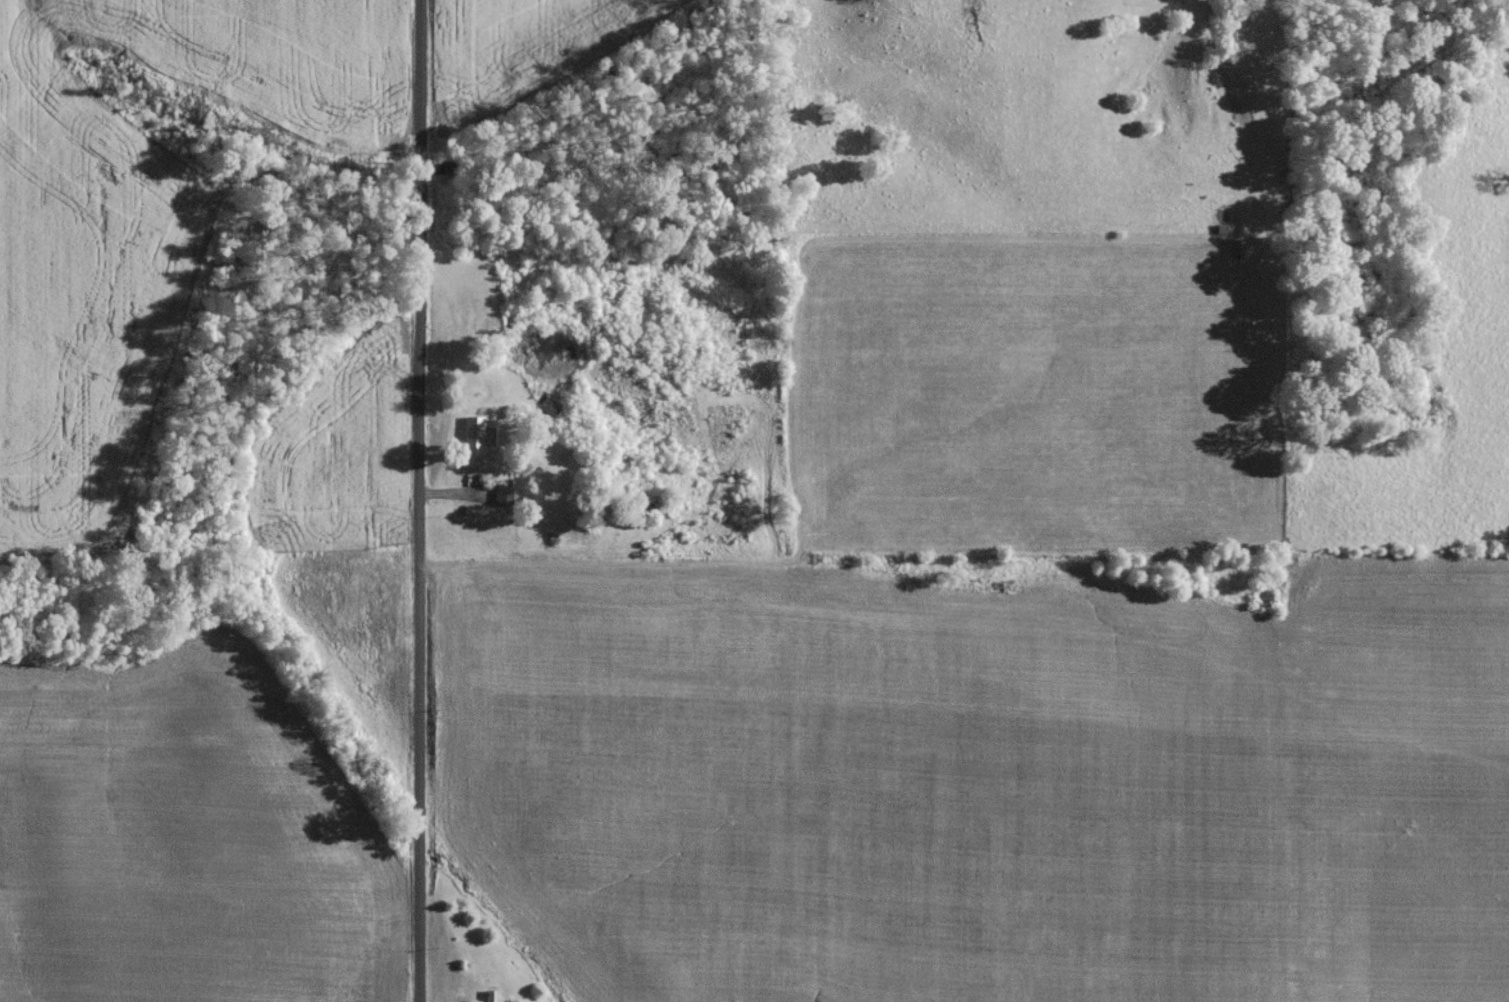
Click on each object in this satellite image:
building: (468, 447)
building: (500, 499)
road: (422, 501)
building: (487, 998)

